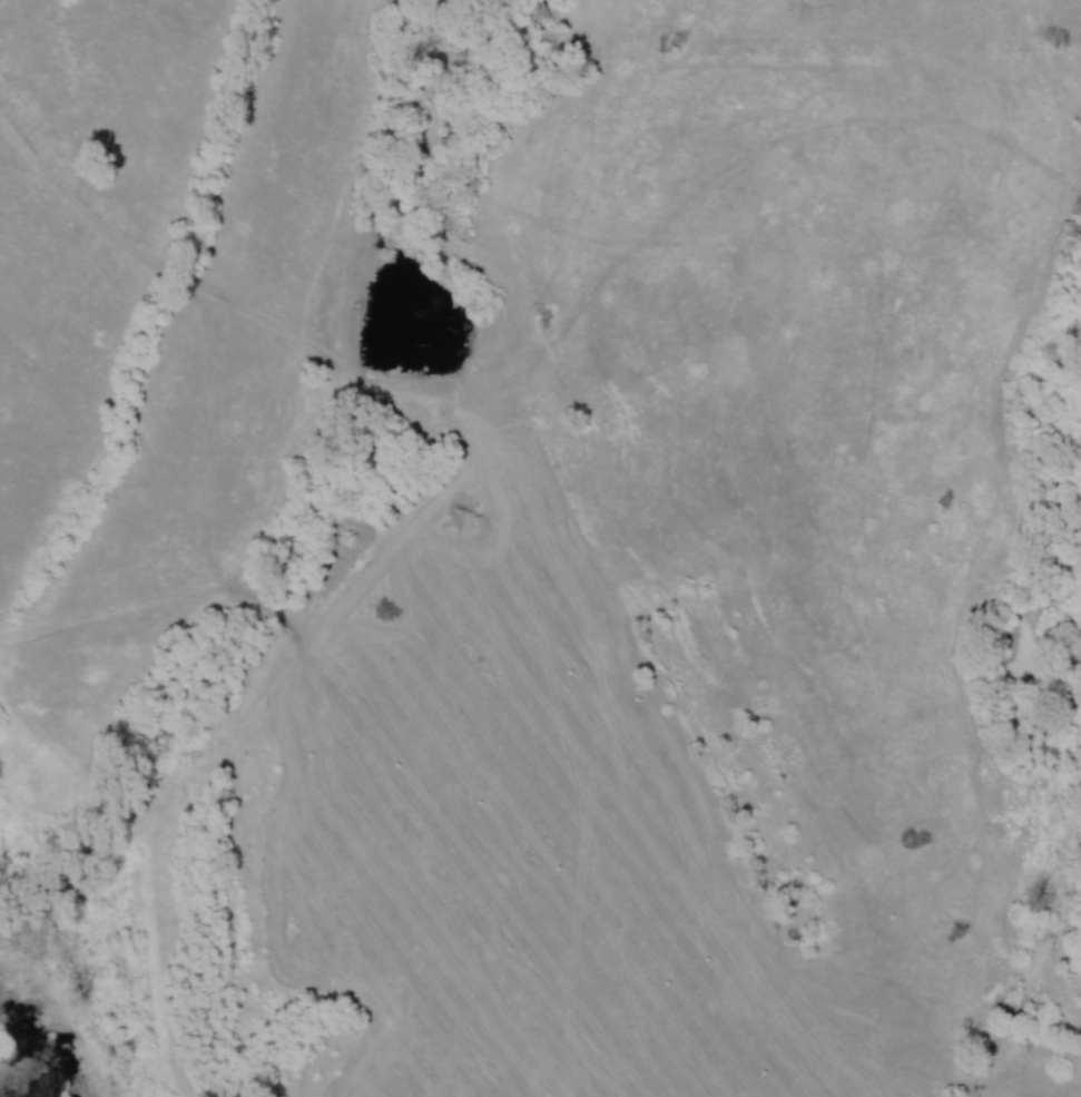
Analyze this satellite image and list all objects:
road: (356, 731)

